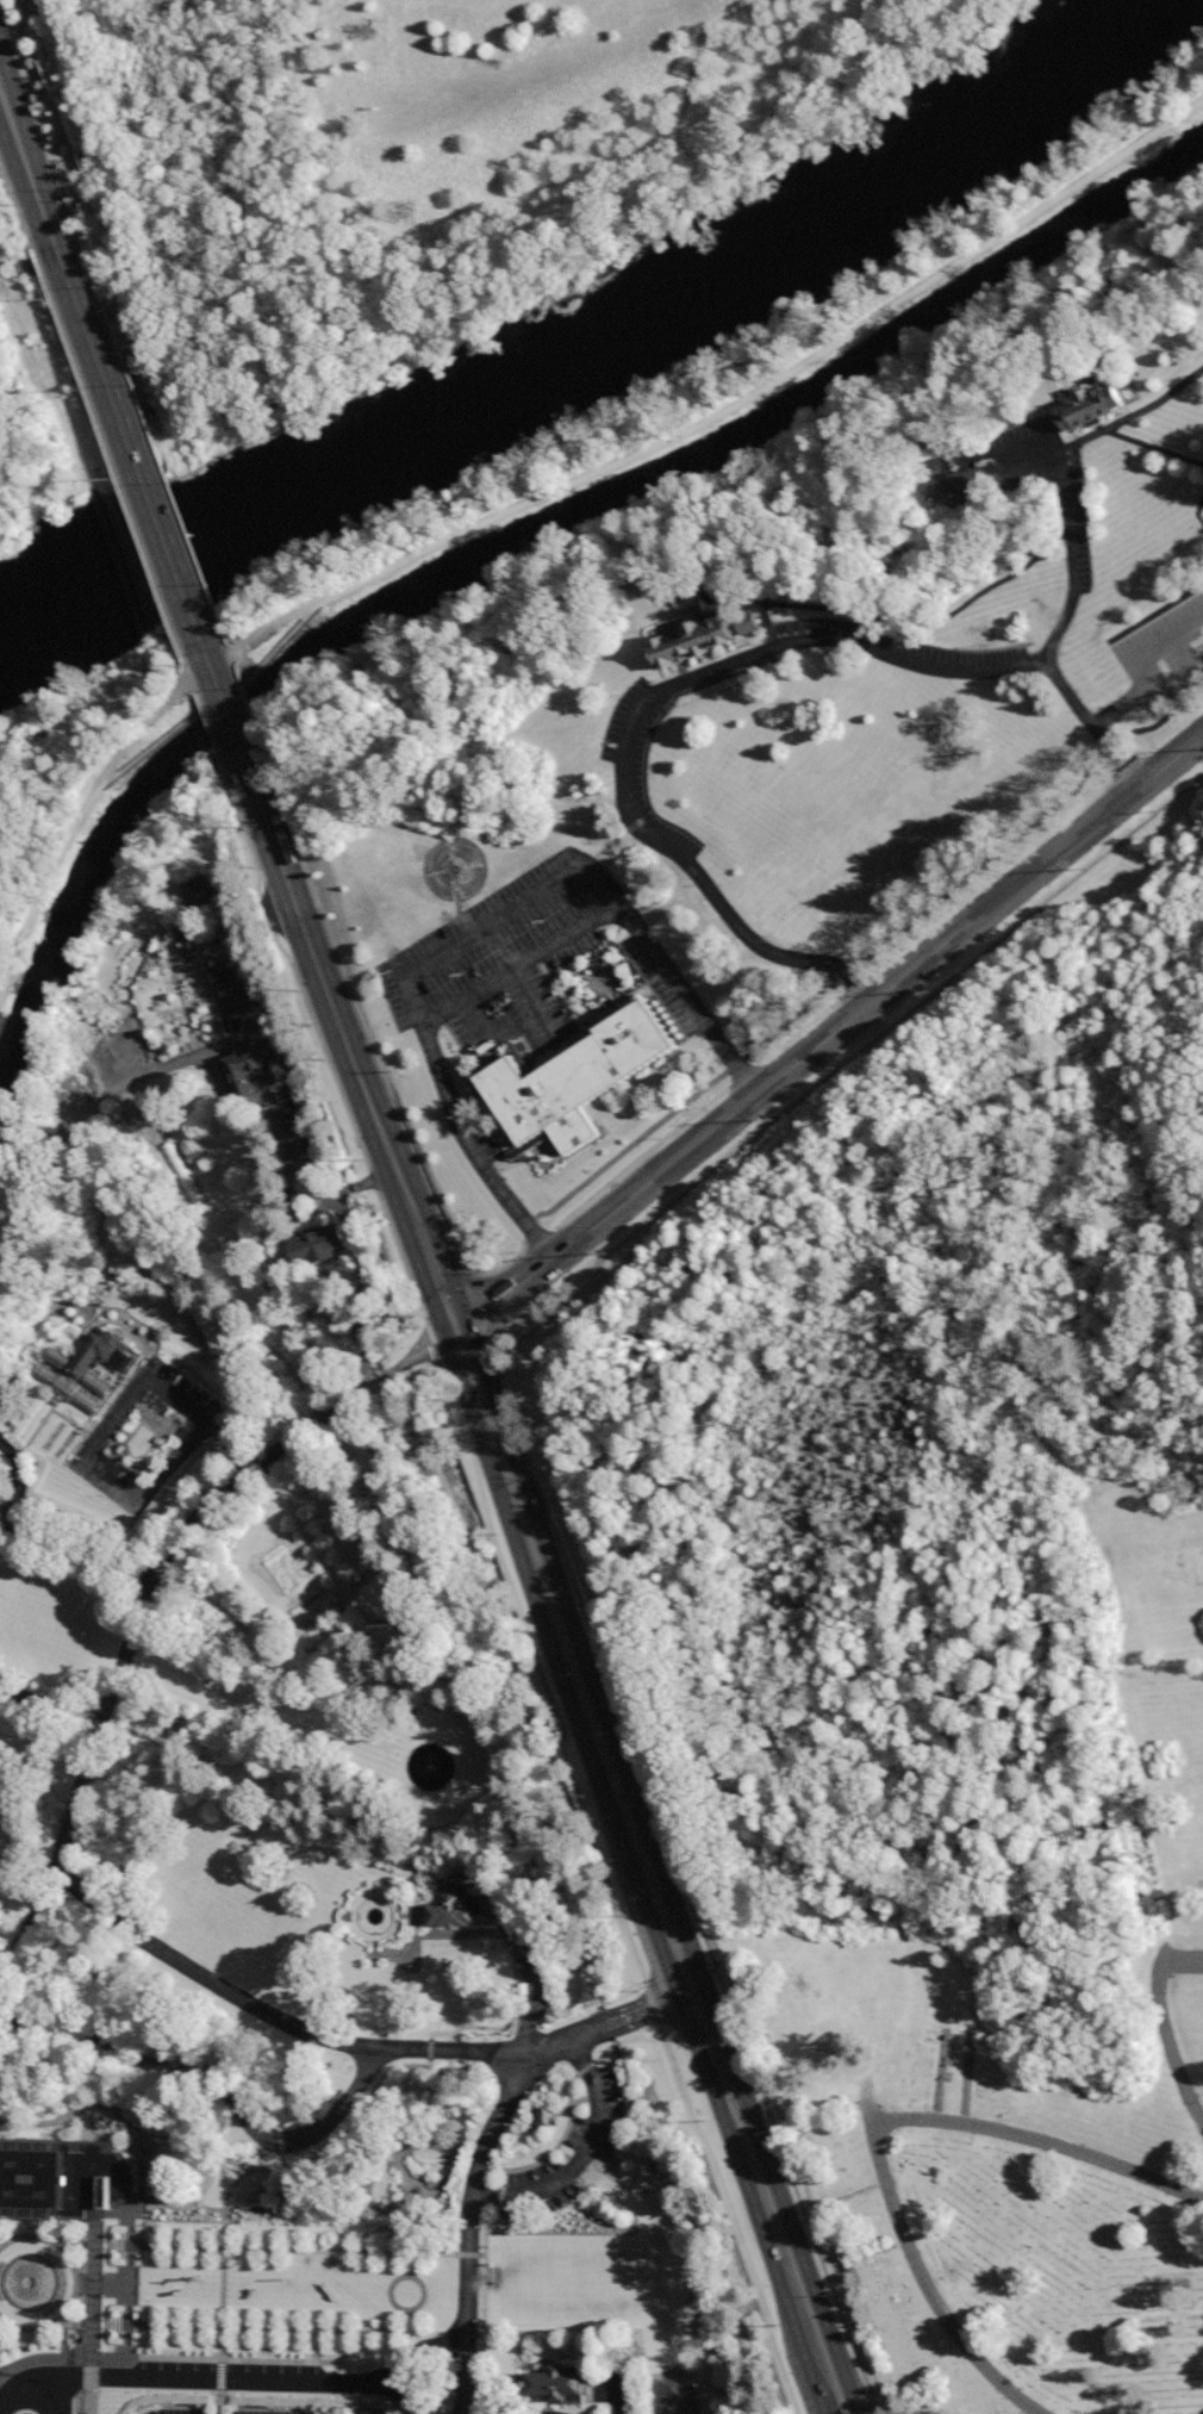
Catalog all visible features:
road: (26, 169)
road: (14, 198)
river: (598, 355)
building: (1089, 407)
road: (1141, 413)
road: (126, 438)
road: (1154, 448)
road: (107, 450)
building: (953, 490)
road: (167, 497)
road: (537, 498)
road: (1197, 512)
parking lot: (1073, 514)
road: (1067, 533)
road: (1157, 614)
building: (698, 636)
parking lot: (897, 651)
parking lot: (1165, 654)
road: (1186, 659)
road: (1036, 661)
road: (208, 665)
road: (1134, 670)
road: (706, 676)
road: (191, 682)
road: (223, 699)
road: (231, 730)
road: (213, 740)
parking lot: (642, 777)
park: (51, 789)
building: (204, 891)
road: (480, 926)
road: (10, 950)
road: (865, 957)
road: (522, 965)
road: (206, 969)
parking lot: (523, 972)
road: (5, 991)
road: (331, 997)
building: (251, 1000)
road: (530, 1001)
road: (479, 1020)
road: (829, 1034)
road: (331, 1063)
building: (257, 1065)
road: (376, 1066)
building: (576, 1075)
road: (85, 1113)
road: (267, 1125)
building: (320, 1248)
road: (62, 1263)
road: (437, 1280)
road: (121, 1309)
traffic signals: (459, 1336)
building: (77, 1371)
road: (355, 1399)
road: (117, 1416)
road: (201, 1418)
road: (74, 1426)
road: (35, 1431)
road: (148, 1433)
parking lot: (144, 1435)
road: (174, 1456)
road: (118, 1474)
road: (15, 1480)
road: (76, 1548)
road: (556, 1603)
park: (946, 1636)
road: (49, 1705)
park: (281, 1726)
fountain: (432, 1766)
road: (69, 1817)
road: (669, 1841)
road: (52, 1866)
road: (18, 1890)
building: (457, 1899)
road: (677, 1929)
road: (524, 1936)
road: (20, 1939)
road: (512, 1954)
parking lot: (543, 1986)
road: (616, 2024)
road: (1164, 2028)
road: (717, 2041)
road: (505, 2051)
road: (213, 2084)
road: (585, 2101)
road: (367, 2104)
road: (108, 2110)
building: (543, 2116)
road: (873, 2119)
road: (881, 2129)
road: (145, 2136)
road: (389, 2147)
parking lot: (575, 2148)
road: (582, 2153)
road: (547, 2158)
road: (236, 2165)
building: (60, 2175)
road: (282, 2185)
road: (424, 2196)
road: (369, 2197)
road: (425, 2200)
road: (114, 2214)
road: (472, 2227)
road: (353, 2229)
road: (68, 2234)
road: (226, 2239)
road: (81, 2244)
road: (273, 2248)
road: (787, 2250)
fountain: (30, 2279)
road: (77, 2283)
road: (104, 2283)
road: (130, 2283)
road: (417, 2307)
road: (94, 2315)
road: (80, 2323)
road: (272, 2329)
road: (64, 2337)
road: (318, 2346)
road: (189, 2359)
road: (412, 2360)
road: (862, 2373)
road: (218, 2379)
building: (557, 2388)
parking lot: (673, 2390)
road: (672, 2396)
road: (26, 2399)
parking lot: (364, 2406)
parking lot: (222, 2409)
road: (840, 2409)
road: (842, 2409)
parking lot: (364, 2410)
road: (369, 2413)

